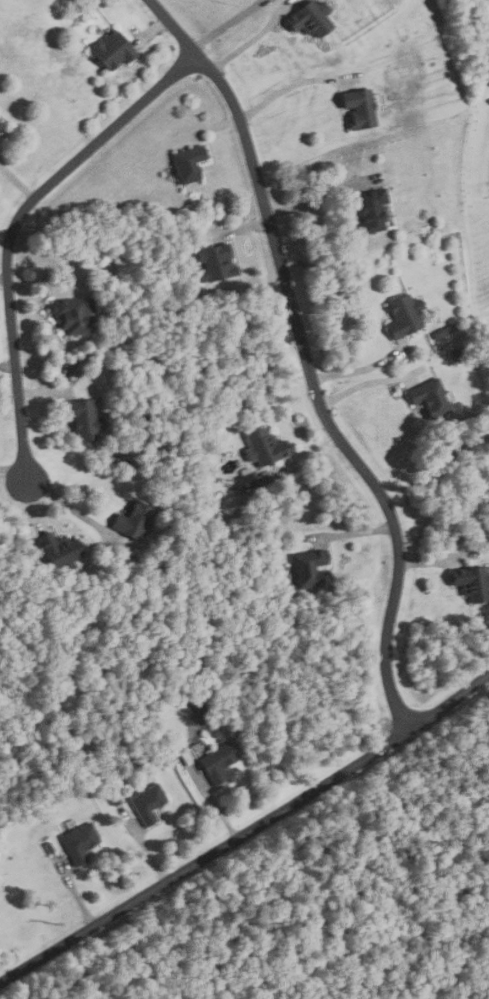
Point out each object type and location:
building: (308, 18)
road: (226, 24)
road: (151, 32)
road: (254, 37)
building: (110, 50)
road: (292, 86)
building: (357, 108)
building: (1, 128)
road: (211, 129)
building: (186, 162)
road: (17, 183)
road: (324, 197)
building: (371, 210)
road: (12, 227)
road: (241, 228)
building: (213, 263)
road: (5, 277)
road: (40, 284)
building: (71, 314)
building: (403, 315)
building: (442, 330)
building: (459, 353)
road: (308, 360)
road: (8, 365)
building: (78, 367)
road: (362, 368)
road: (368, 381)
road: (44, 391)
building: (428, 399)
building: (81, 417)
building: (262, 446)
road: (299, 458)
road: (13, 470)
building: (245, 481)
road: (30, 502)
road: (73, 509)
building: (131, 520)
building: (28, 531)
road: (352, 533)
building: (59, 549)
road: (434, 561)
building: (306, 568)
building: (470, 582)
building: (197, 674)
building: (215, 762)
road: (209, 796)
building: (112, 799)
building: (147, 803)
road: (246, 834)
building: (78, 842)
road: (142, 845)
building: (48, 847)
road: (74, 893)

